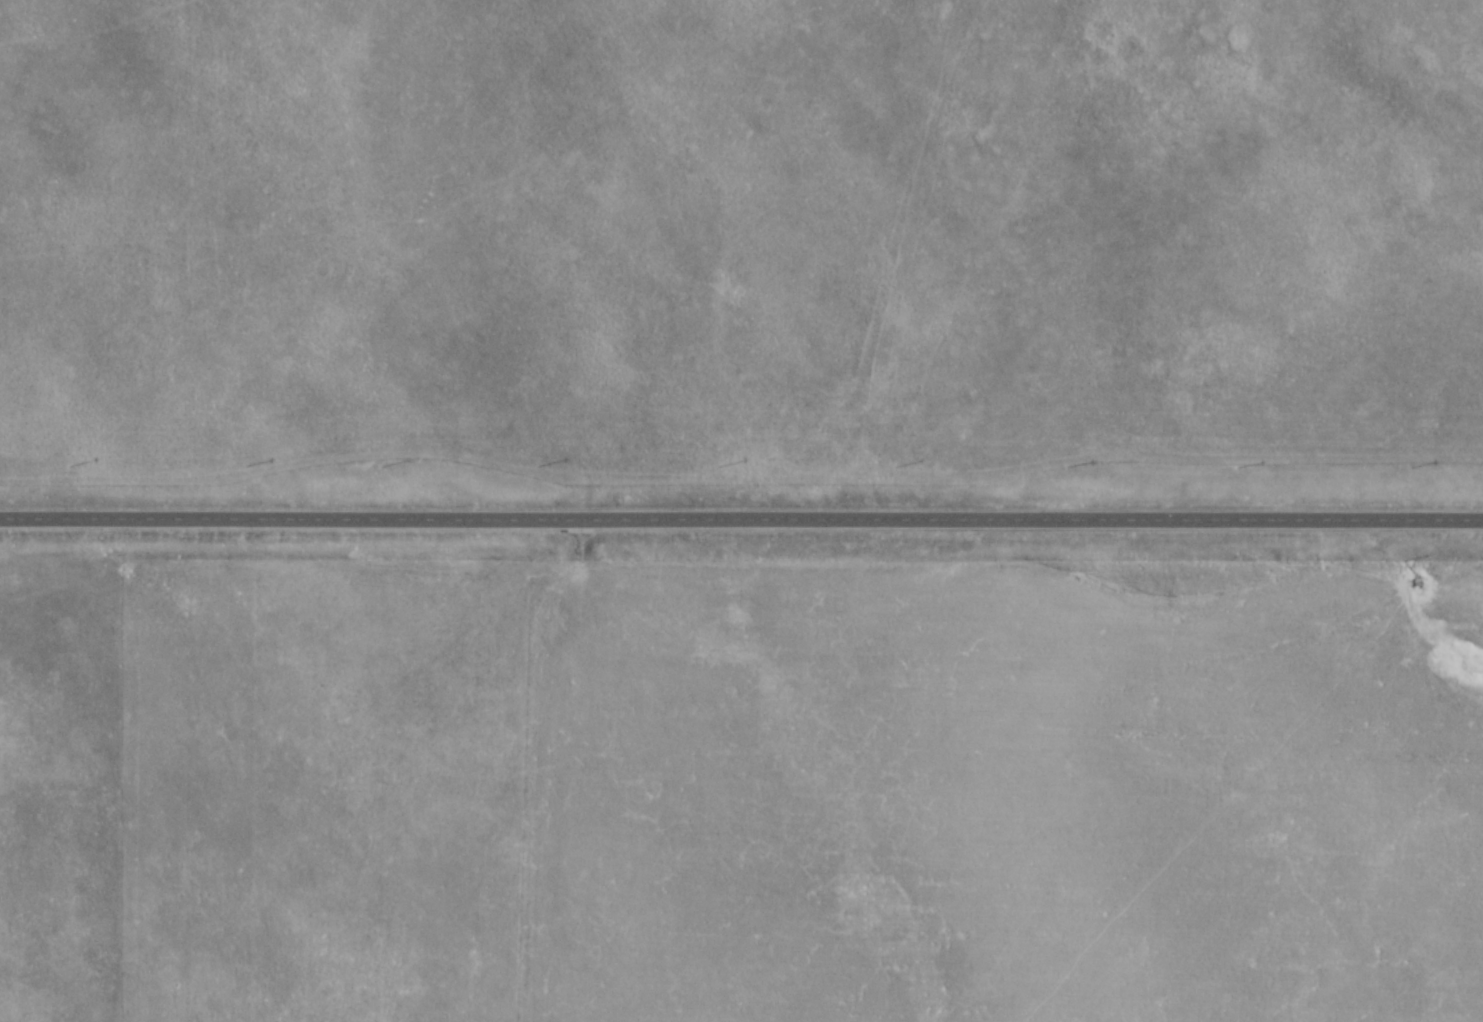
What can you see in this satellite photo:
road: (741, 517)

